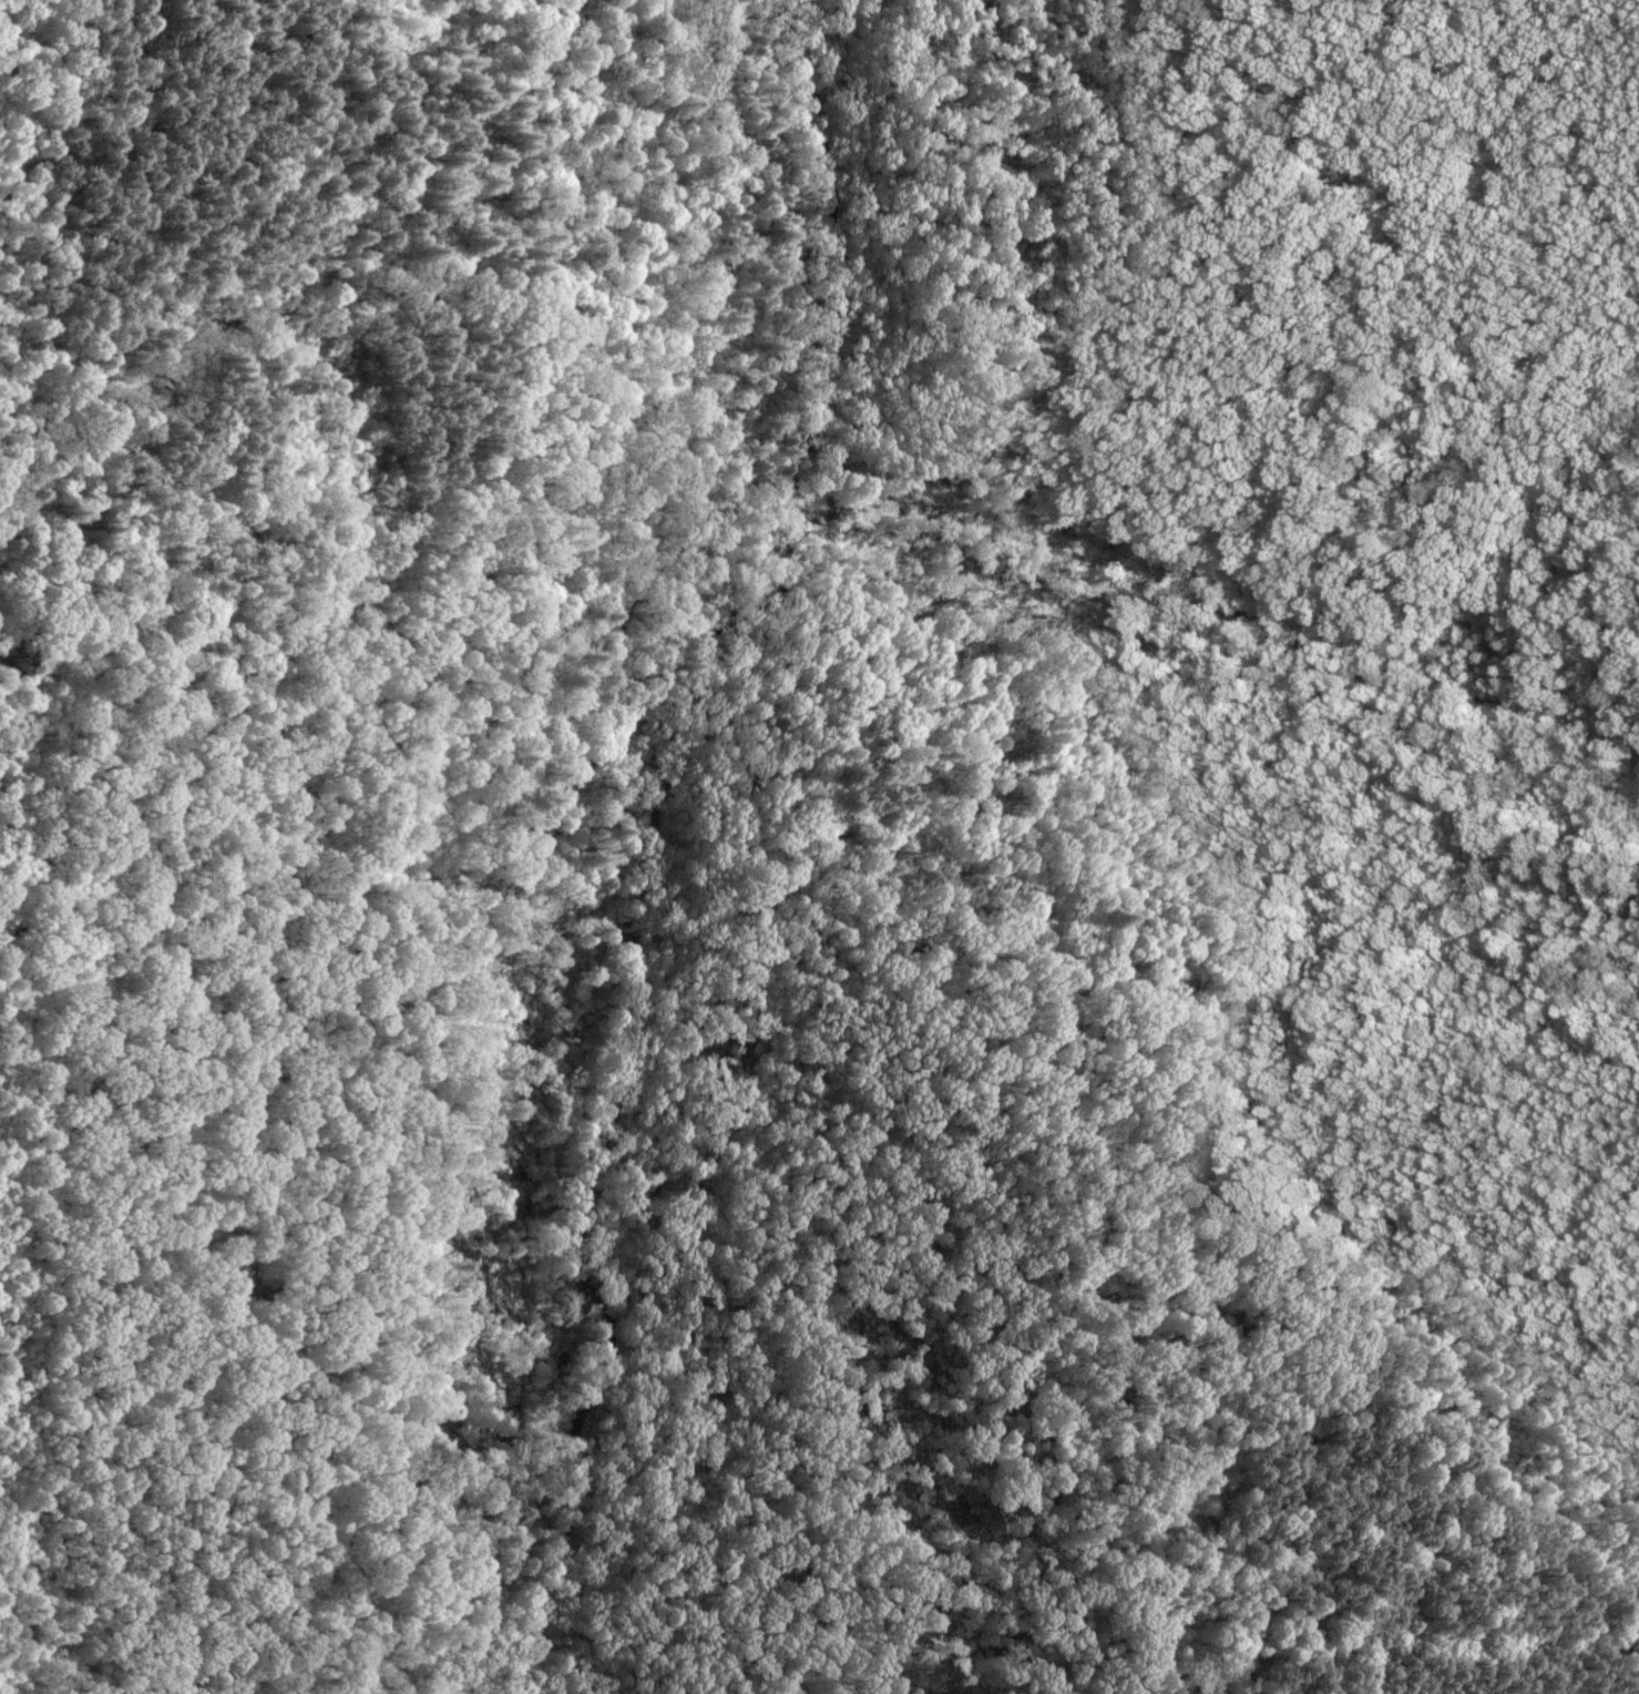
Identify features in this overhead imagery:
road: (290, 171)

